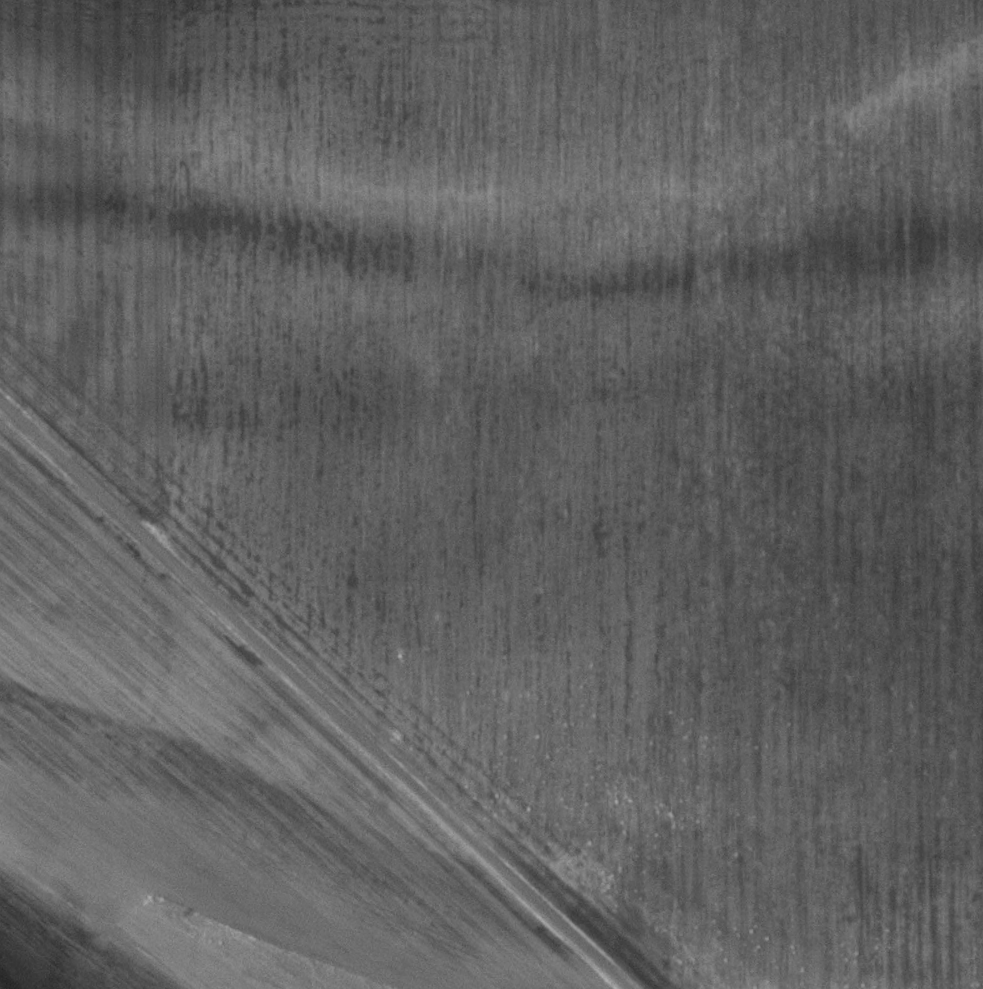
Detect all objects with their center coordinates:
road: (290, 708)

